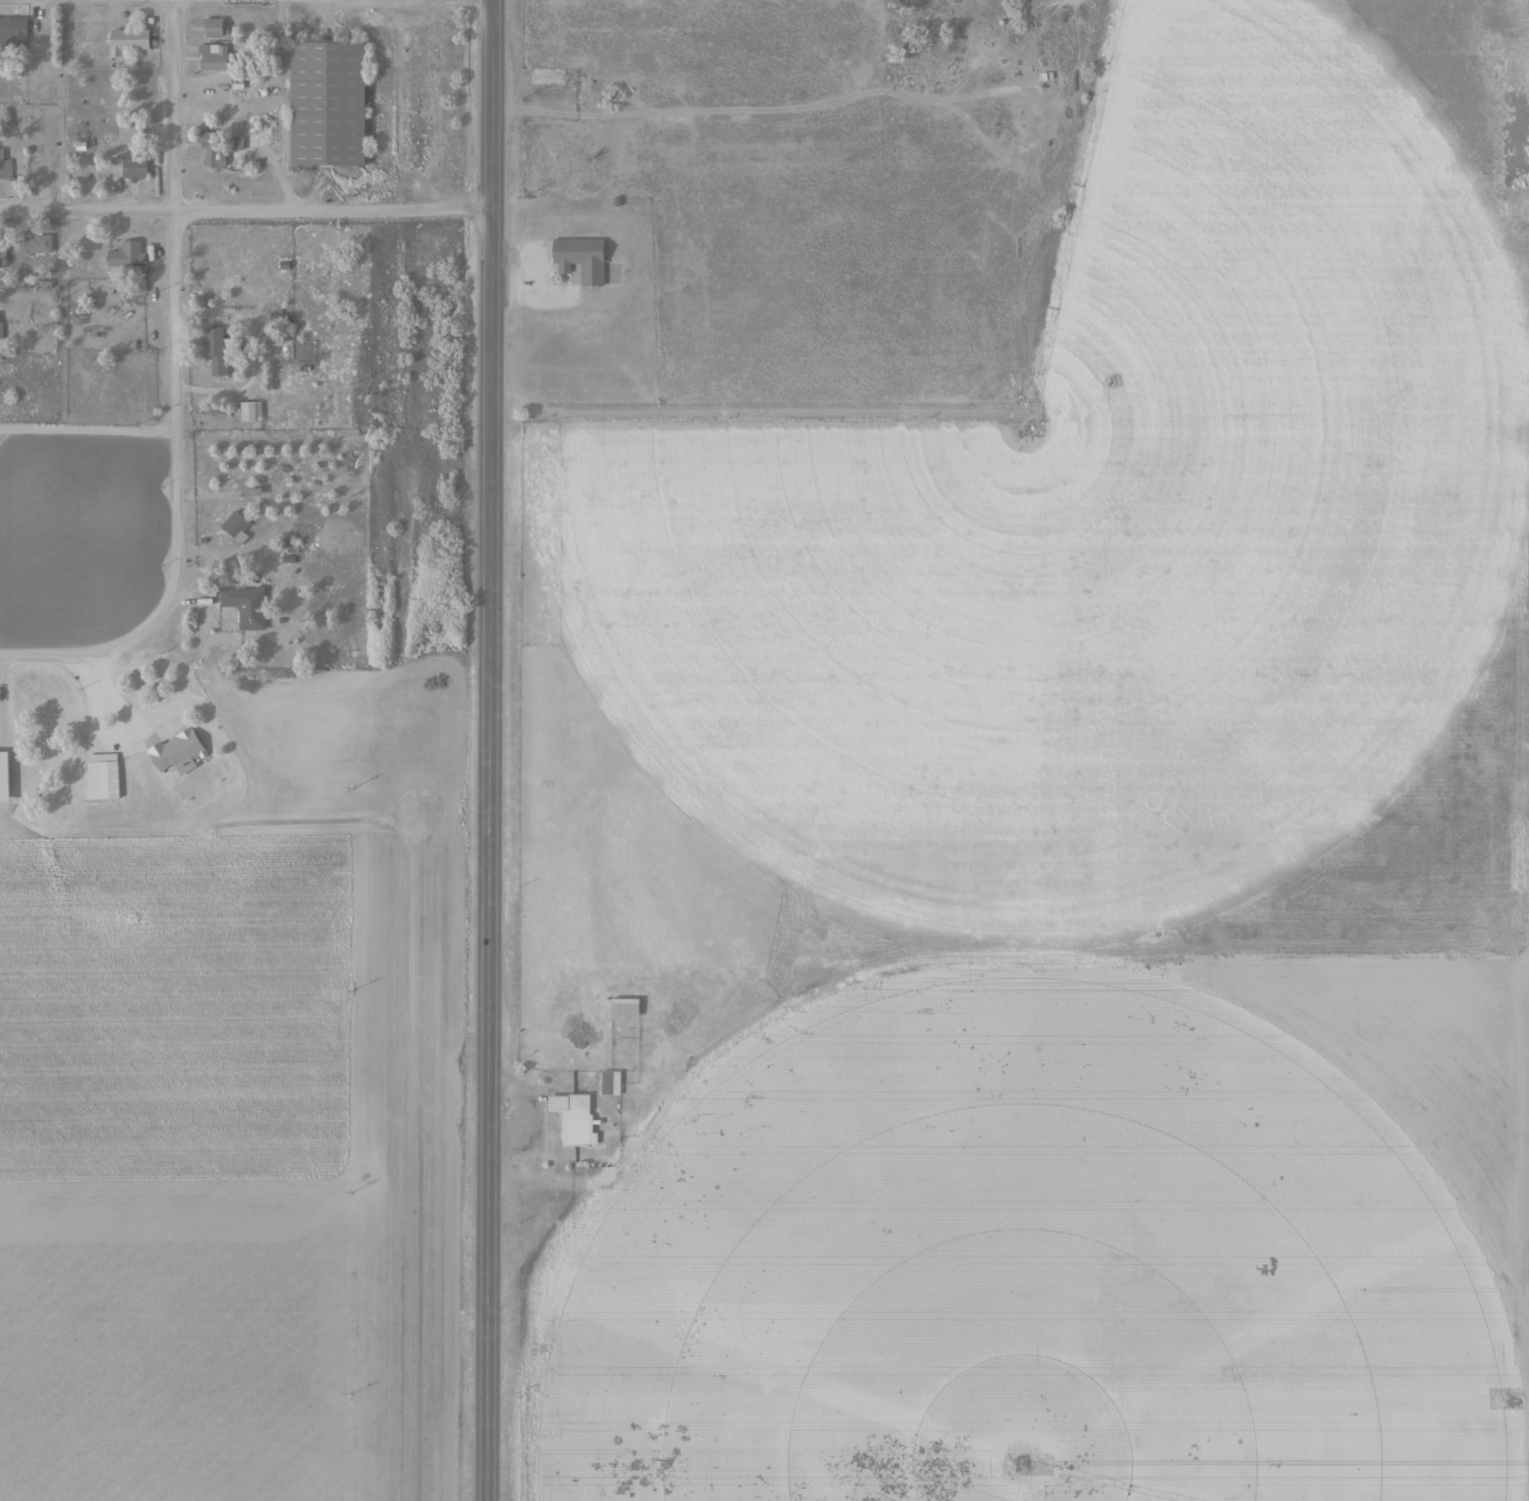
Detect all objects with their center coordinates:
building: (211, 28)
building: (12, 32)
building: (128, 42)
building: (214, 59)
building: (326, 105)
building: (211, 149)
building: (128, 168)
building: (4, 169)
road: (247, 212)
building: (34, 245)
building: (125, 256)
building: (579, 259)
road: (172, 327)
building: (214, 351)
building: (15, 381)
building: (249, 412)
road: (86, 429)
building: (235, 528)
building: (245, 606)
road: (67, 656)
road: (491, 750)
building: (177, 752)
building: (3, 777)
building: (101, 780)
building: (623, 1008)
building: (609, 1083)
building: (573, 1118)

